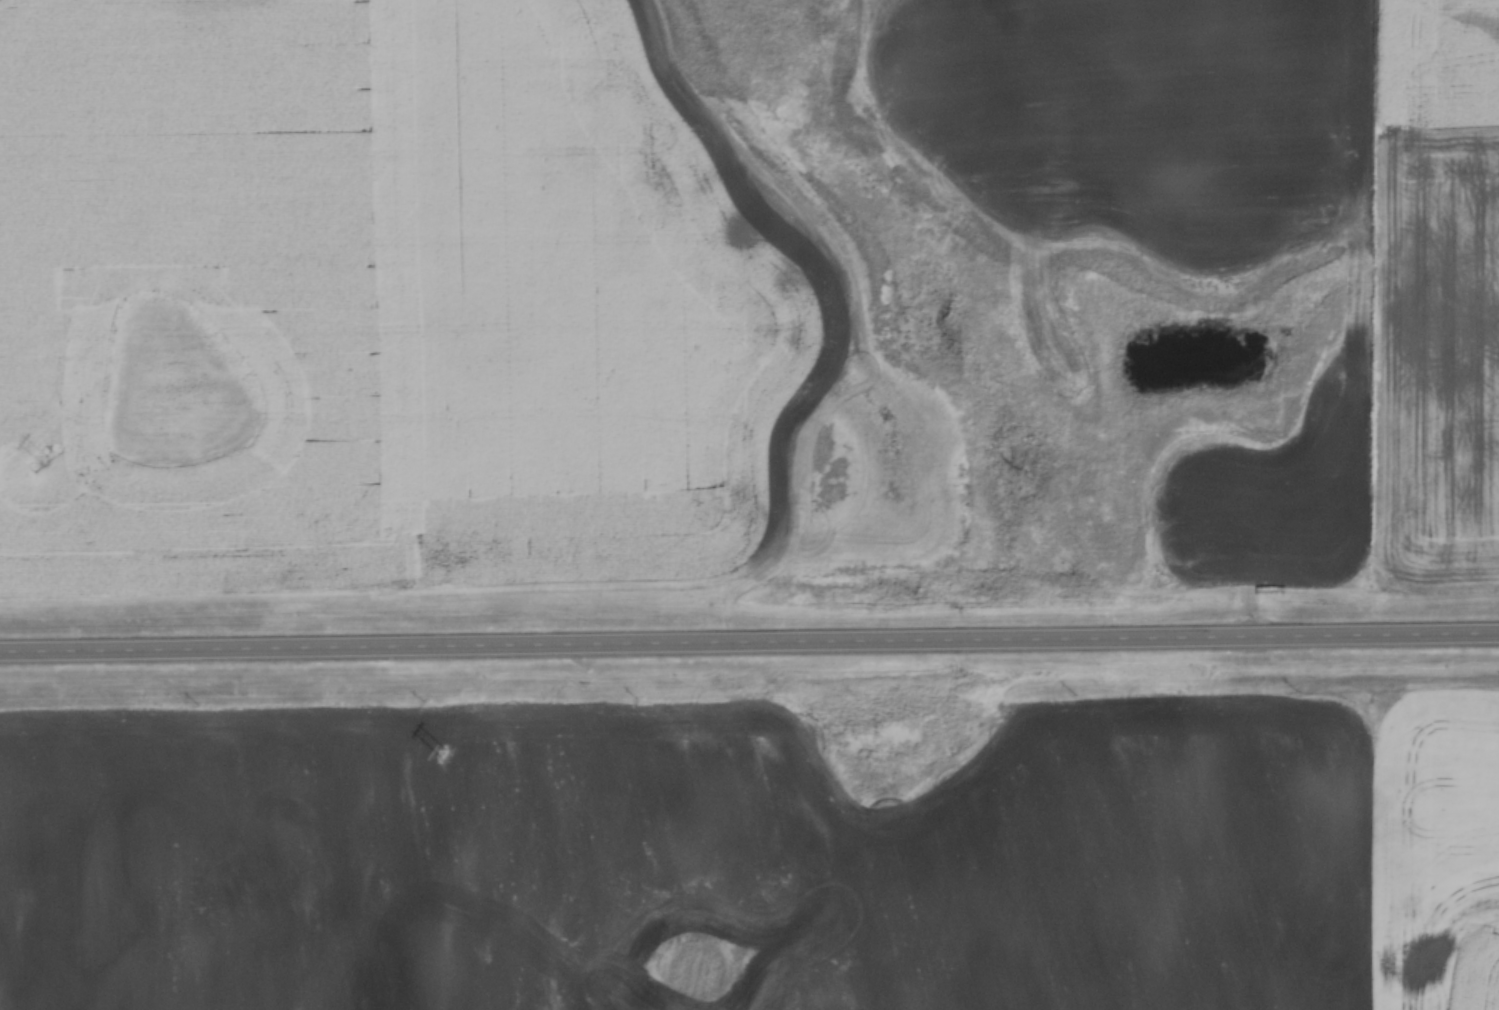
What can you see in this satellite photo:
power tower: (42, 458)
road: (749, 647)
power tower: (443, 752)

